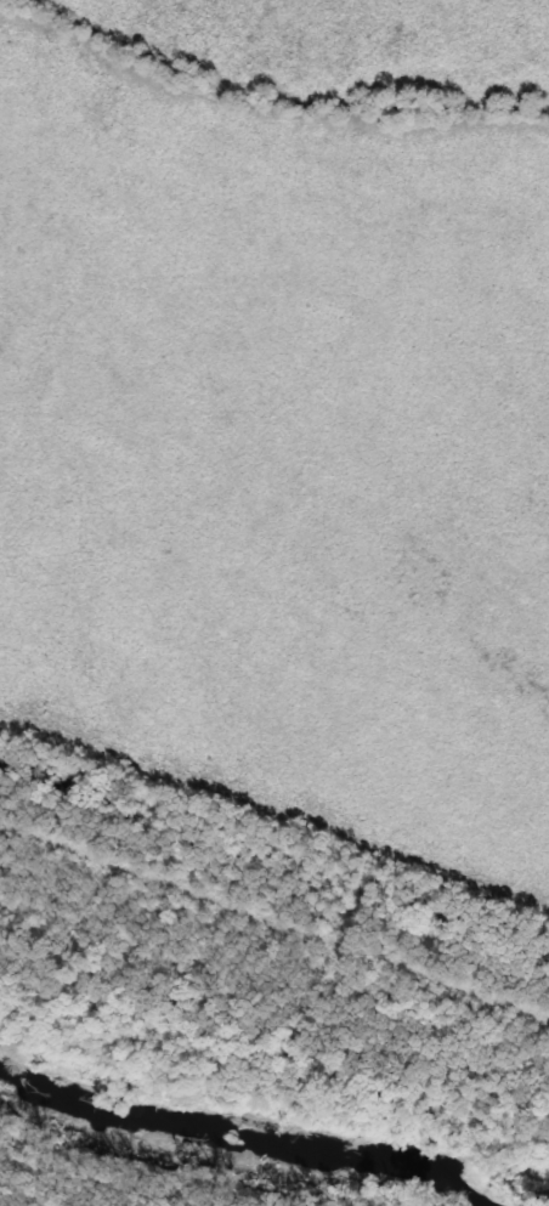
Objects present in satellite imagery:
road: (272, 111)

